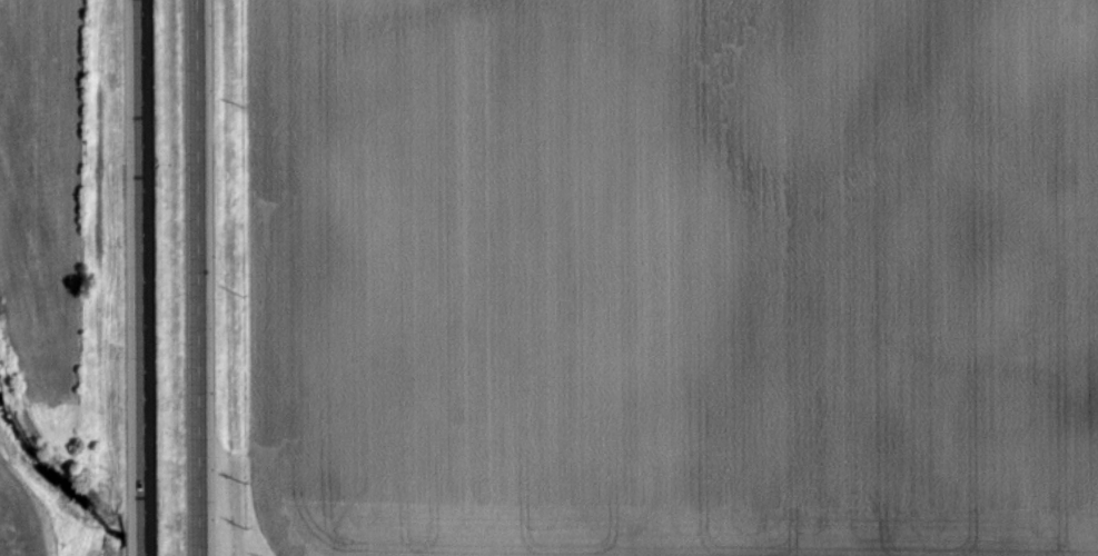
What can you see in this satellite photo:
road: (135, 278)
road: (199, 278)

